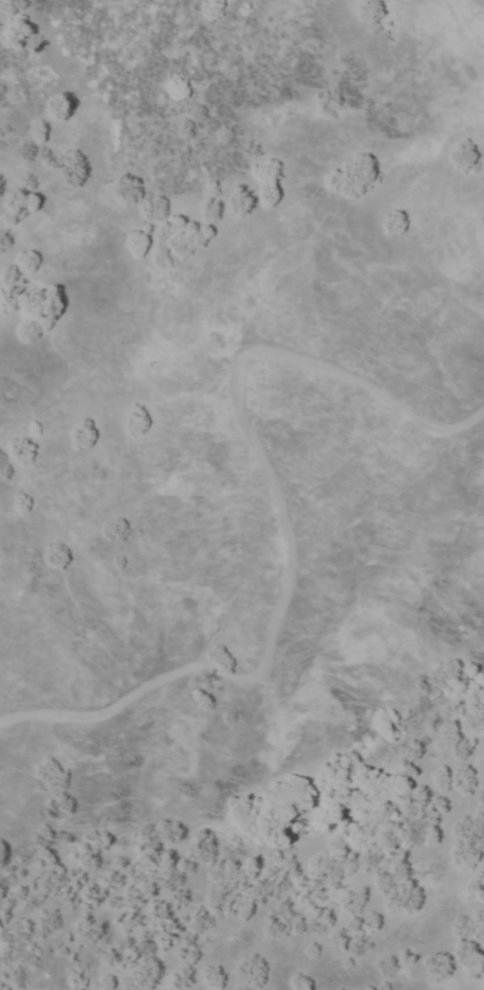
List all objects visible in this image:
road: (463, 38)
road: (471, 237)
road: (283, 514)

